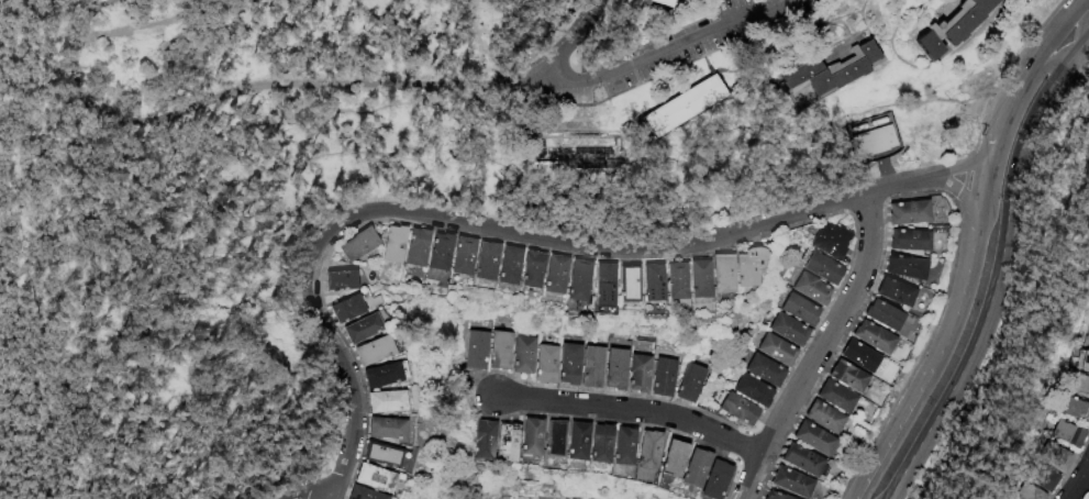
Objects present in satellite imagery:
building: (666, 3)
road: (68, 13)
road: (1073, 13)
road: (88, 15)
road: (149, 21)
building: (956, 26)
road: (1070, 35)
road: (1084, 38)
road: (1049, 41)
road: (666, 55)
road: (1085, 62)
road: (1030, 70)
road: (525, 71)
road: (1005, 73)
building: (830, 75)
road: (219, 93)
building: (687, 104)
road: (386, 109)
building: (880, 122)
building: (860, 129)
road: (1000, 129)
building: (876, 142)
park: (392, 180)
road: (963, 180)
road: (611, 187)
road: (207, 192)
building: (908, 215)
road: (519, 231)
building: (909, 242)
building: (830, 243)
building: (393, 246)
building: (355, 248)
road: (43, 249)
building: (416, 249)
building: (440, 254)
building: (463, 258)
road: (87, 260)
building: (485, 263)
road: (997, 267)
building: (508, 268)
building: (904, 269)
building: (823, 270)
building: (531, 271)
building: (745, 274)
building: (554, 277)
building: (721, 277)
road: (40, 281)
building: (698, 282)
building: (675, 285)
building: (337, 286)
building: (652, 286)
building: (577, 287)
building: (602, 287)
building: (629, 289)
building: (812, 291)
building: (894, 295)
building: (1088, 307)
building: (344, 311)
building: (800, 311)
building: (884, 317)
building: (357, 325)
building: (788, 332)
building: (1085, 335)
building: (873, 336)
road: (24, 341)
road: (945, 344)
building: (369, 346)
road: (820, 347)
building: (477, 351)
building: (500, 351)
building: (777, 352)
building: (523, 356)
building: (858, 357)
road: (918, 357)
building: (1079, 359)
road: (105, 363)
building: (569, 364)
building: (546, 365)
building: (592, 367)
building: (615, 369)
building: (381, 370)
building: (764, 372)
building: (638, 373)
building: (847, 377)
building: (663, 378)
road: (225, 379)
building: (1078, 382)
building: (689, 384)
building: (753, 392)
building: (835, 397)
building: (381, 398)
building: (1074, 408)
road: (632, 410)
building: (738, 411)
building: (823, 417)
road: (80, 422)
building: (381, 424)
building: (1066, 431)
building: (529, 436)
building: (553, 439)
building: (813, 439)
building: (482, 440)
building: (576, 441)
building: (505, 442)
building: (599, 444)
building: (623, 446)
building: (648, 450)
building: (377, 452)
building: (1052, 454)
building: (673, 458)
building: (802, 461)
building: (696, 468)
building: (369, 475)
building: (1041, 475)
building: (715, 480)
building: (791, 483)
road: (1078, 483)
road: (302, 488)
road: (892, 491)
building: (1026, 491)
building: (363, 492)
building: (774, 496)
building: (1088, 497)

